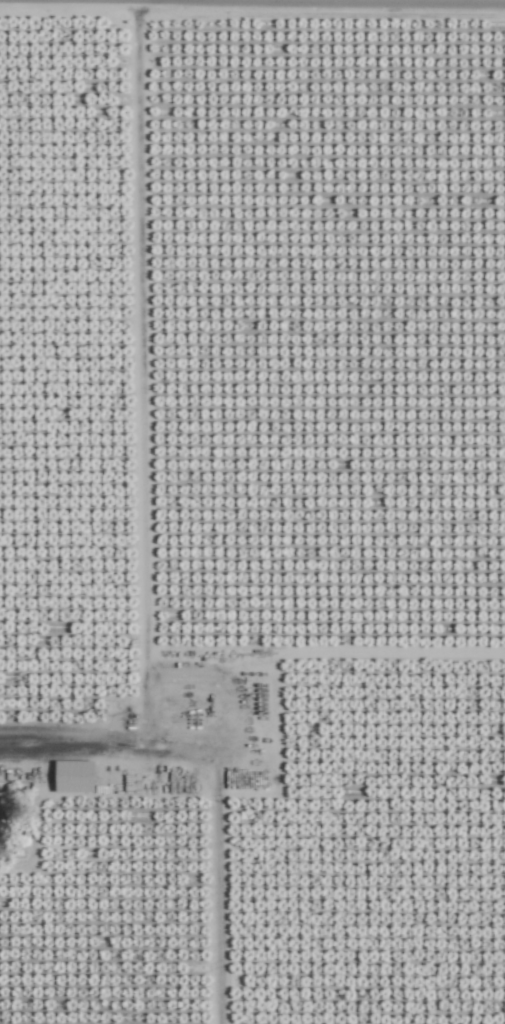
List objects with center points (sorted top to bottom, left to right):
road: (320, 0)
road: (138, 373)
road: (70, 745)
building: (74, 776)
road: (217, 856)

